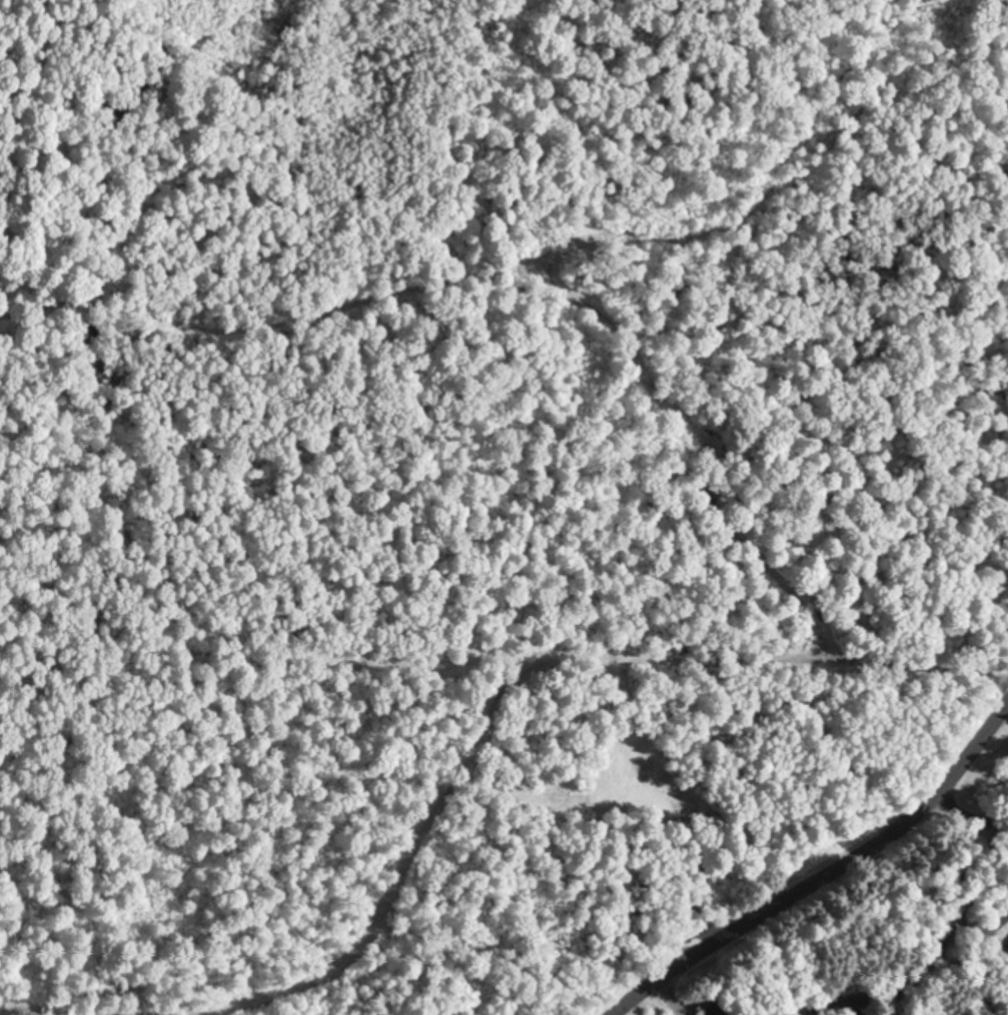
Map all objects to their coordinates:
road: (827, 880)
building: (710, 1012)

